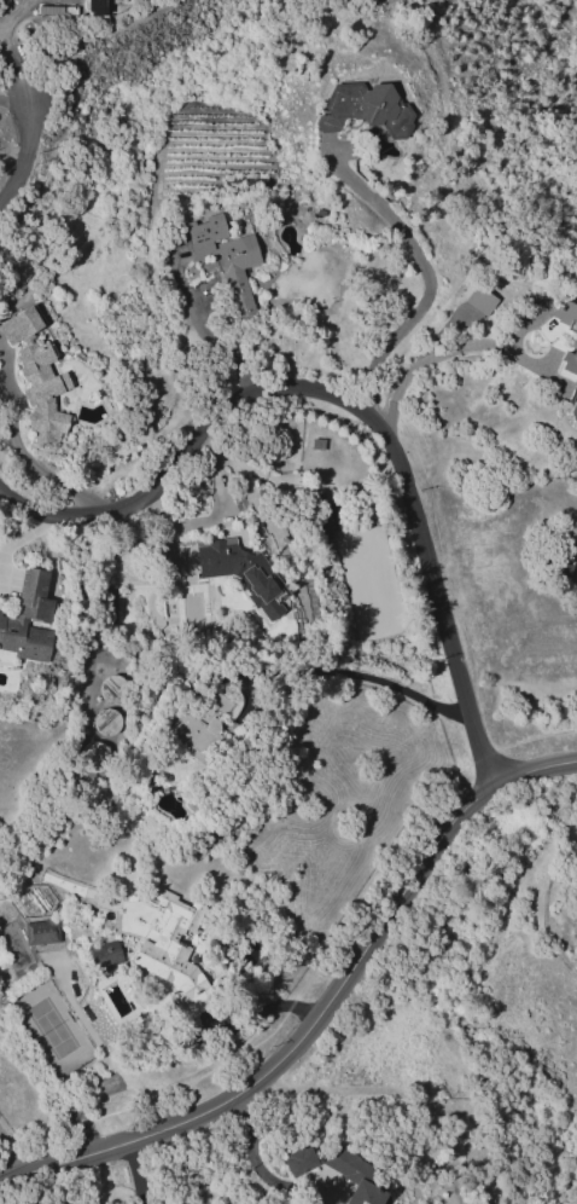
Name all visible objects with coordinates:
road: (564, 11)
road: (14, 71)
road: (77, 81)
road: (13, 98)
building: (363, 108)
road: (23, 151)
building: (203, 235)
building: (237, 268)
road: (427, 282)
building: (479, 300)
building: (547, 328)
building: (573, 342)
road: (218, 343)
road: (444, 348)
building: (35, 376)
road: (346, 403)
road: (250, 469)
road: (214, 510)
building: (235, 571)
building: (109, 598)
building: (27, 619)
road: (363, 676)
building: (106, 722)
building: (196, 736)
building: (40, 932)
building: (174, 950)
building: (104, 955)
road: (261, 1012)
road: (325, 1012)
road: (7, 1154)
building: (298, 1160)
road: (180, 1168)
road: (257, 1169)
road: (136, 1173)
building: (352, 1175)
road: (94, 1176)

